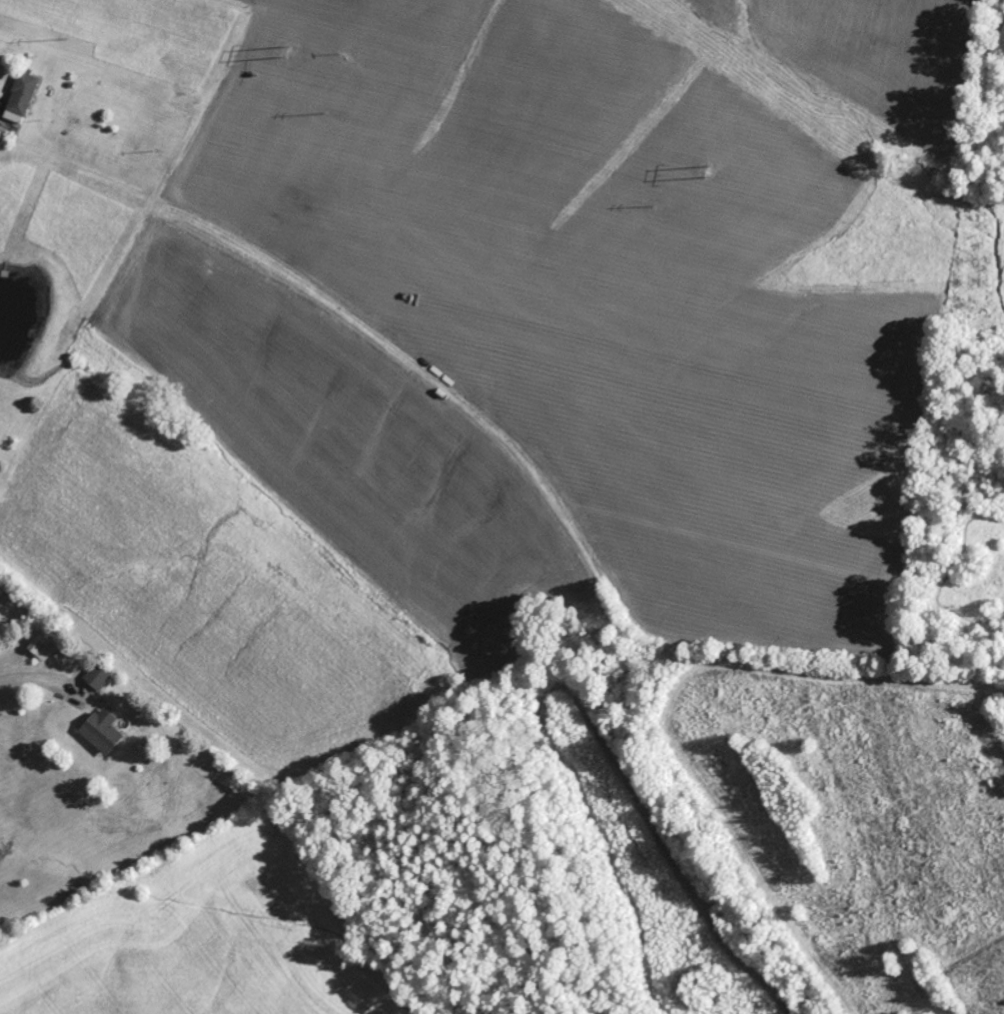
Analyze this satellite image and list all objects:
power tower: (289, 50)
building: (25, 98)
power tower: (712, 169)
building: (49, 645)
building: (102, 677)
building: (107, 731)

